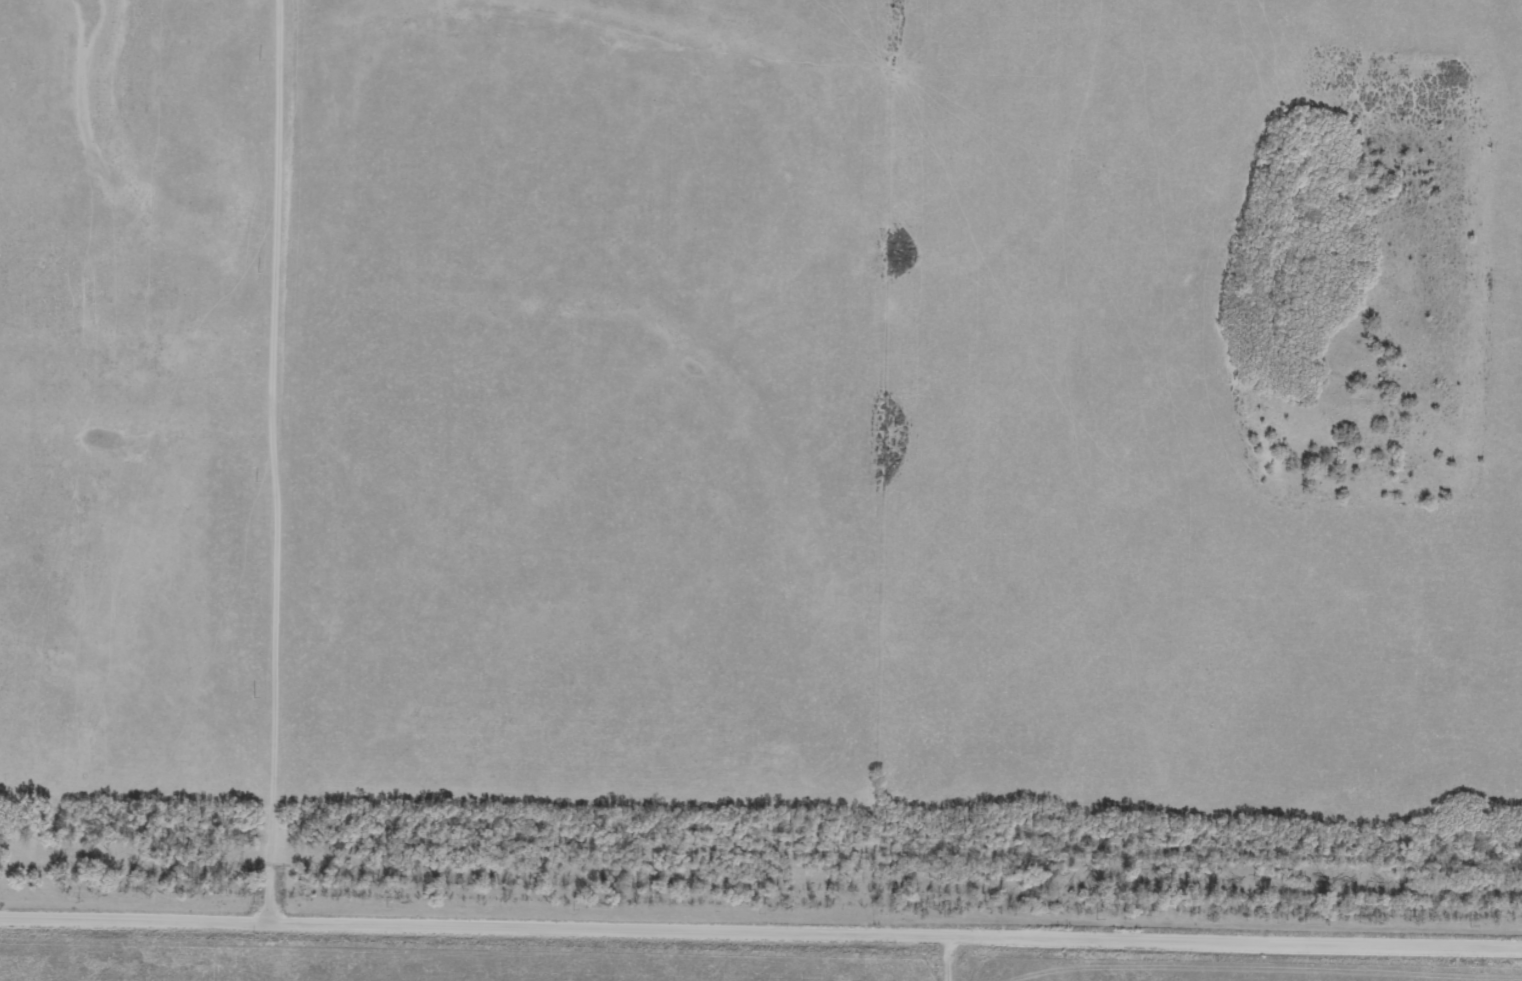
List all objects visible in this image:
road: (282, 458)
road: (761, 927)
road: (966, 956)

